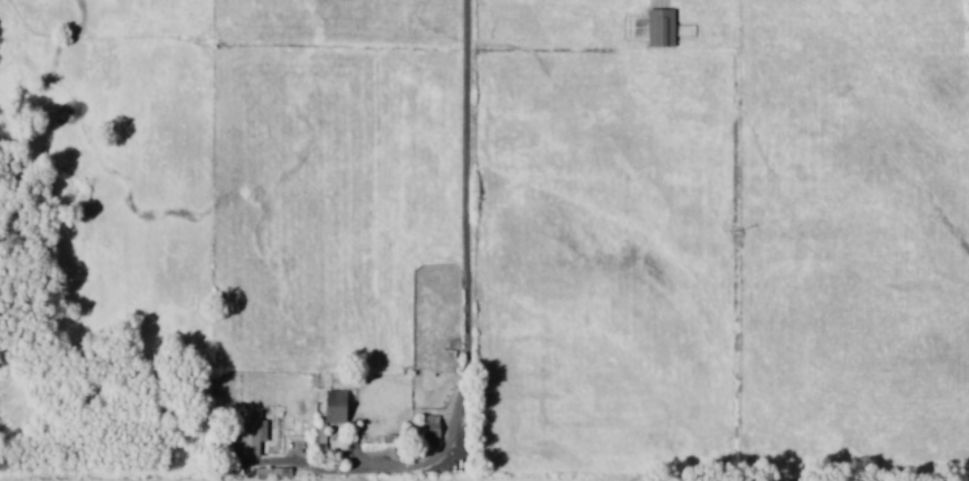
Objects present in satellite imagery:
building: (661, 28)
road: (470, 252)
building: (337, 407)
building: (252, 433)

